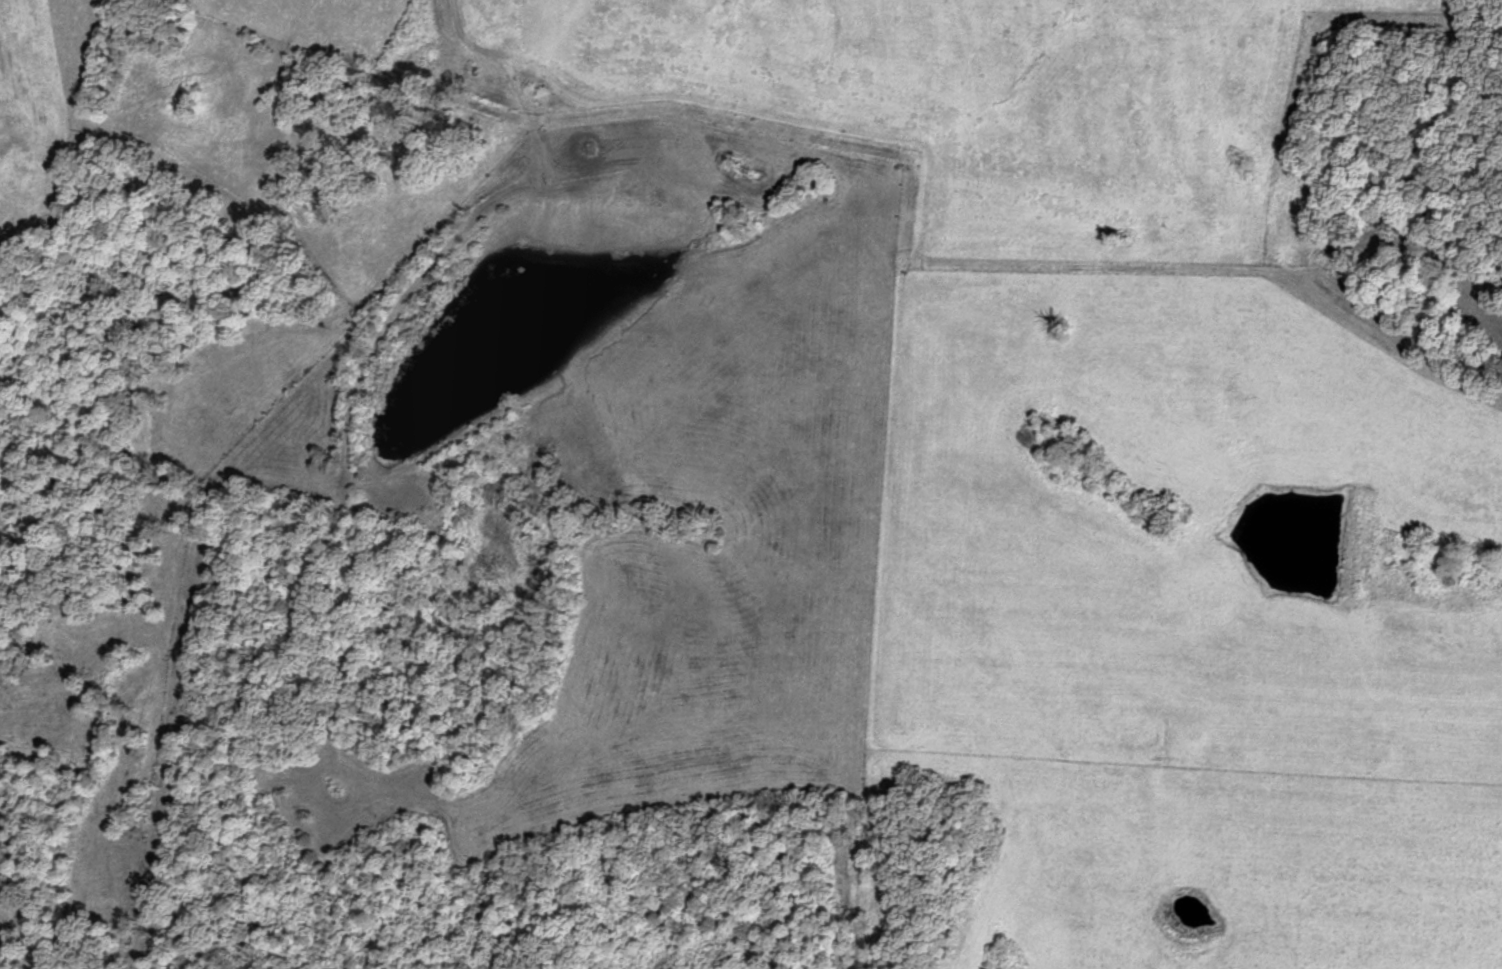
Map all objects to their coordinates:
building: (435, 54)

